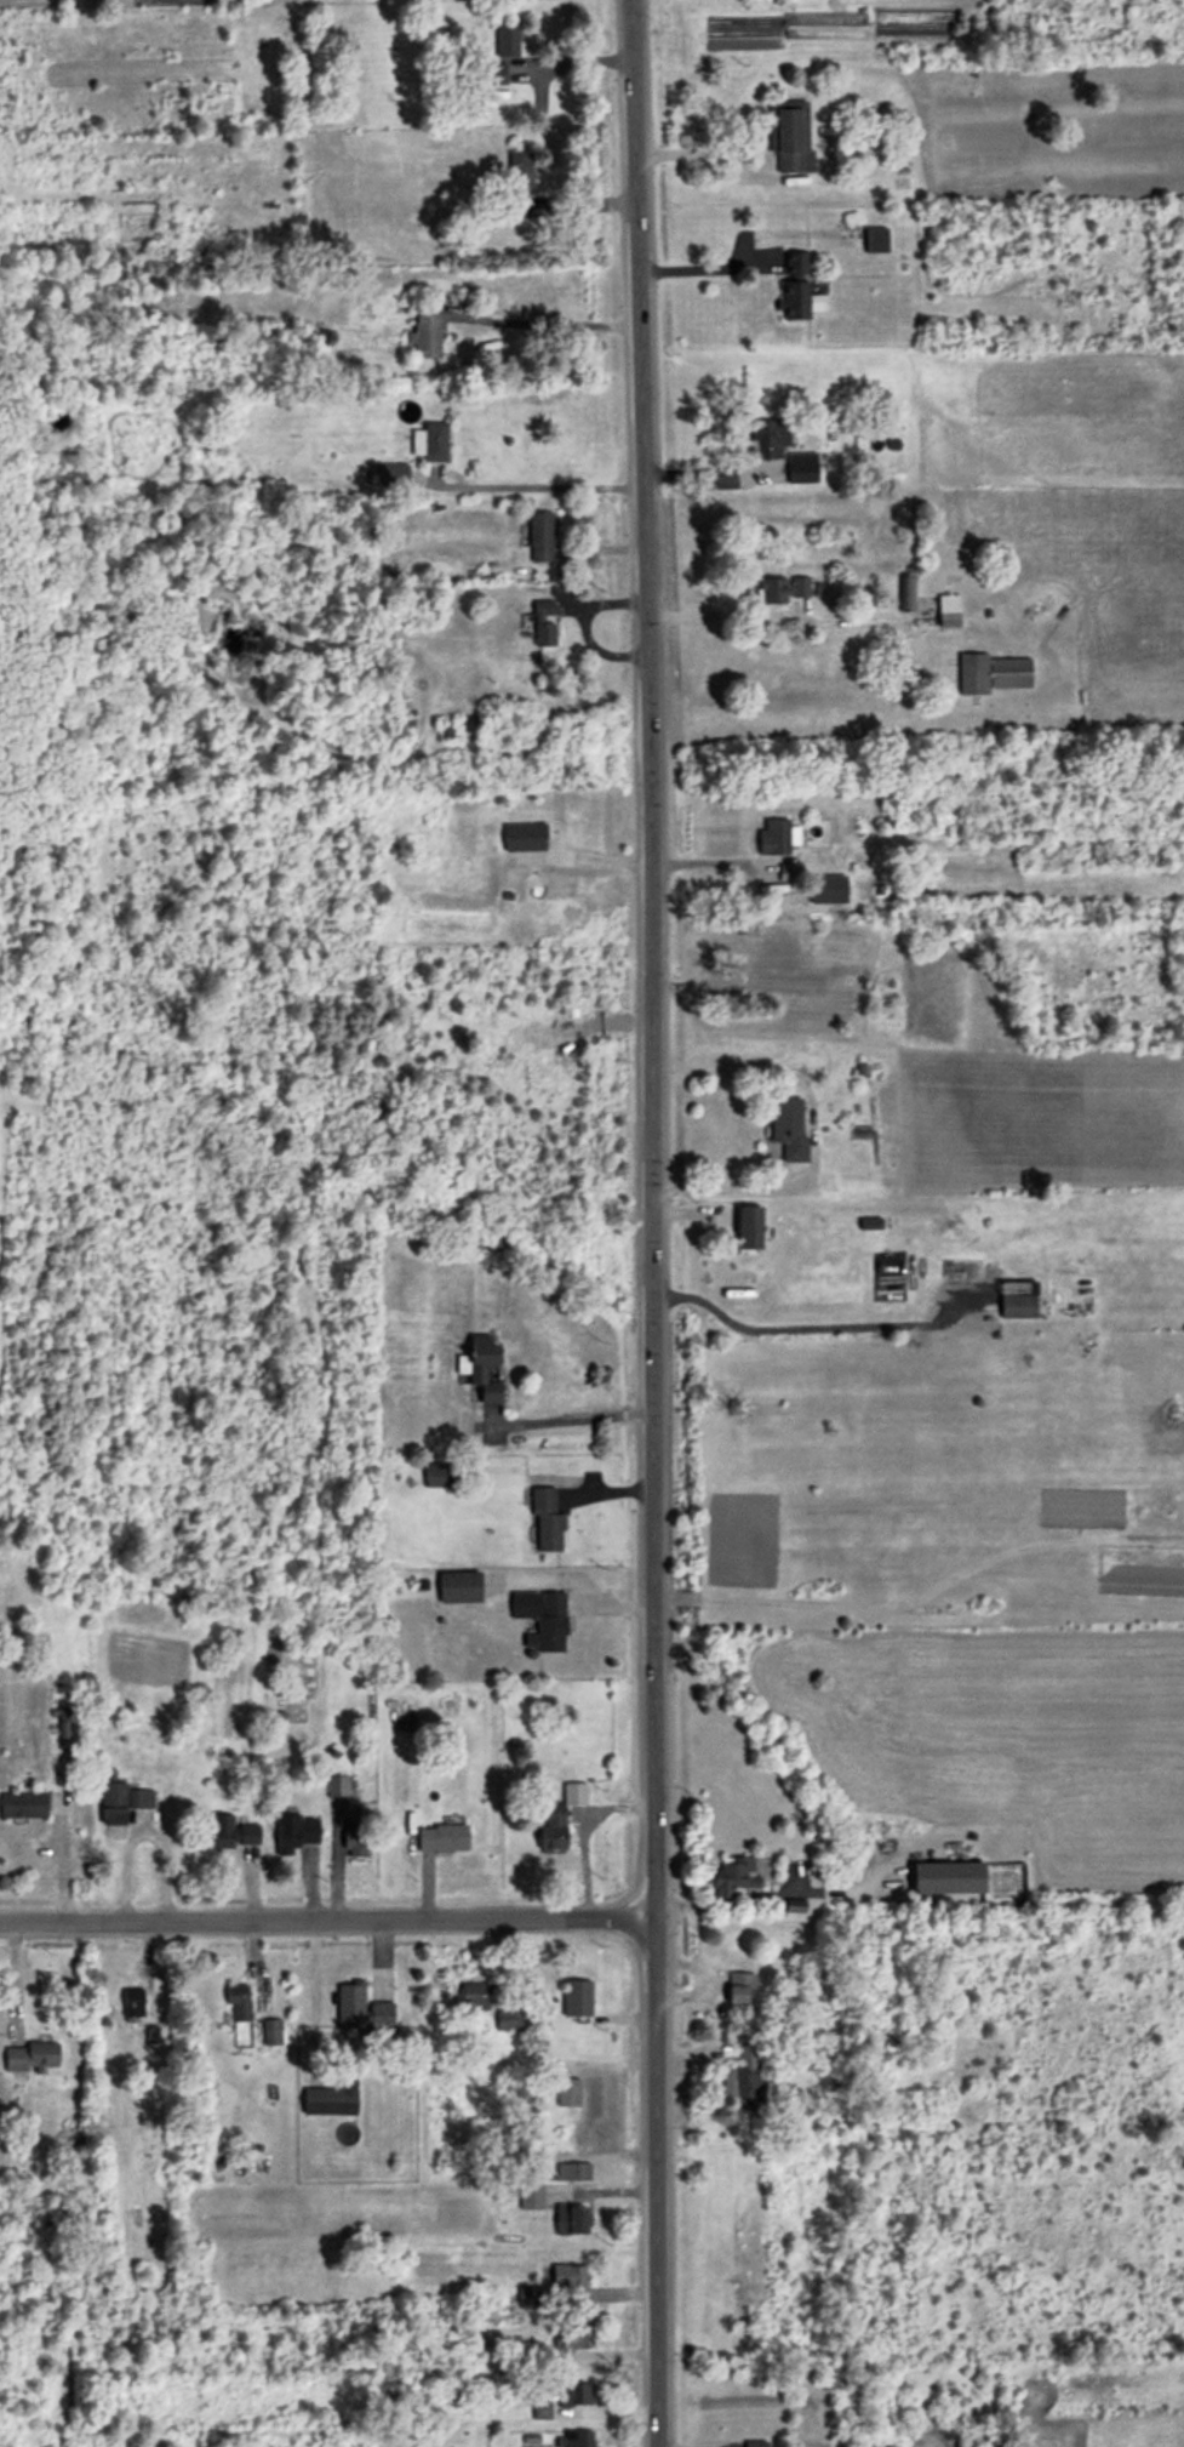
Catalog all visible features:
building: (508, 35)
building: (494, 74)
building: (791, 138)
road: (698, 153)
building: (520, 171)
building: (877, 243)
road: (705, 266)
building: (796, 266)
building: (797, 302)
road: (549, 321)
building: (428, 331)
building: (430, 443)
building: (782, 450)
road: (711, 470)
building: (393, 474)
road: (540, 485)
building: (543, 537)
building: (782, 591)
building: (948, 611)
road: (726, 612)
building: (544, 624)
building: (463, 650)
building: (993, 674)
building: (774, 838)
road: (715, 860)
building: (829, 890)
building: (771, 948)
building: (808, 985)
building: (788, 1129)
road: (808, 1129)
road: (653, 1222)
building: (748, 1228)
building: (1017, 1307)
building: (481, 1367)
road: (576, 1416)
building: (441, 1476)
building: (547, 1522)
building: (459, 1587)
building: (542, 1620)
building: (141, 1798)
building: (114, 1803)
building: (23, 1807)
building: (557, 1819)
building: (231, 1833)
building: (296, 1833)
road: (582, 1833)
building: (358, 1837)
building: (441, 1838)
building: (732, 1875)
building: (945, 1878)
road: (772, 1893)
road: (326, 1921)
building: (740, 1989)
building: (474, 1998)
building: (576, 2000)
building: (238, 2001)
building: (133, 2003)
building: (361, 2010)
building: (508, 2021)
building: (273, 2032)
building: (32, 2058)
building: (744, 2078)
building: (568, 2093)
building: (333, 2098)
building: (573, 2172)
building: (531, 2196)
building: (572, 2220)
building: (551, 2285)
building: (574, 2339)
building: (574, 2394)
building: (991, 2437)
building: (578, 2439)
building: (755, 2445)

